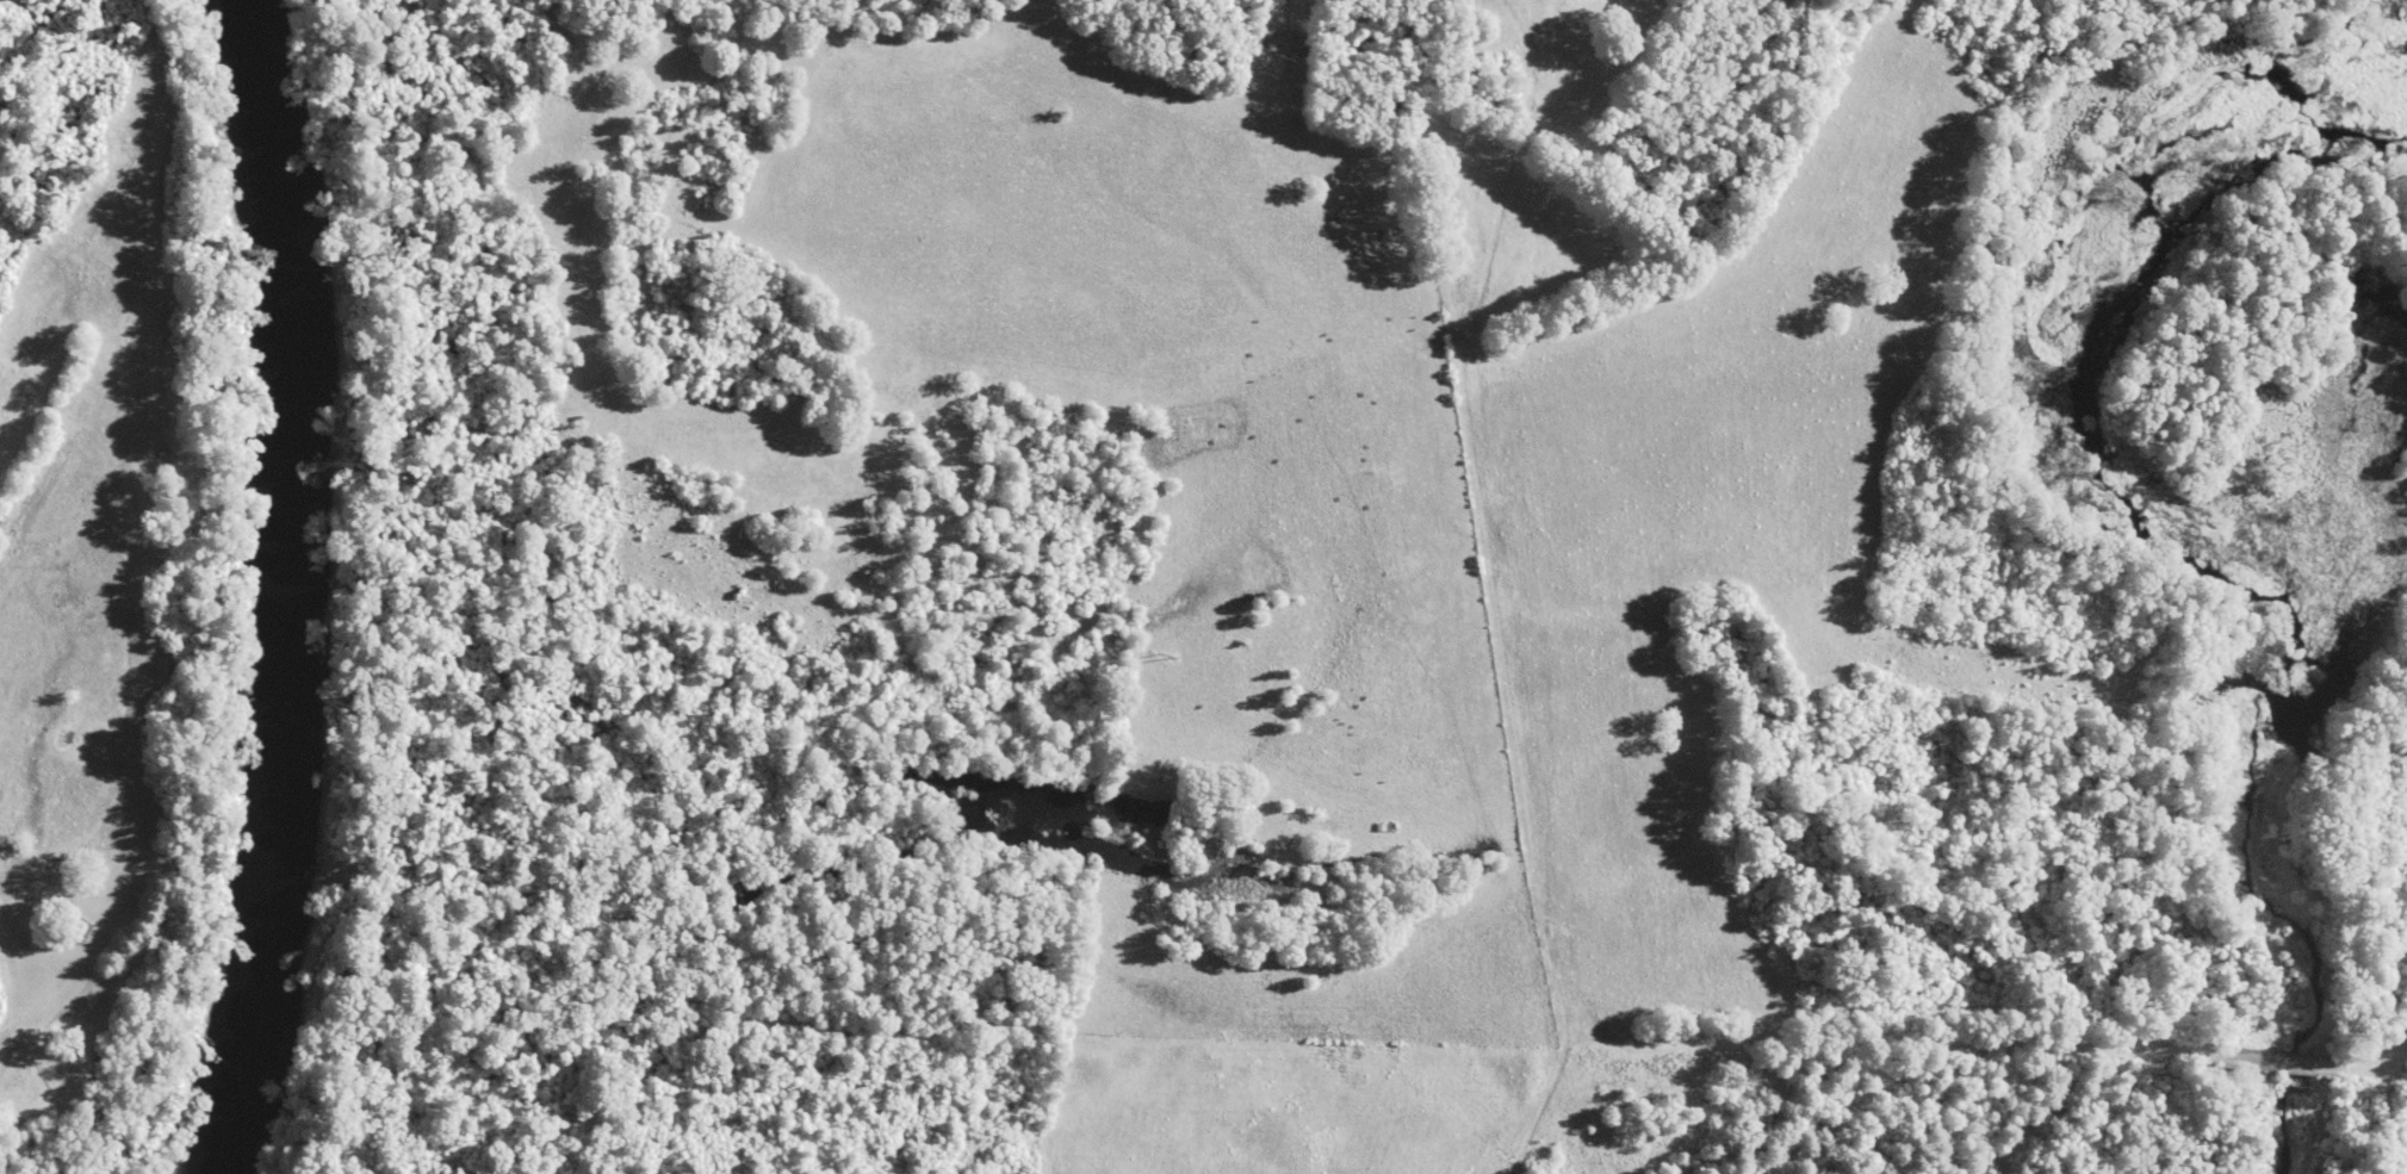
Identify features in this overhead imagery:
river: (272, 589)
building: (74, 931)

